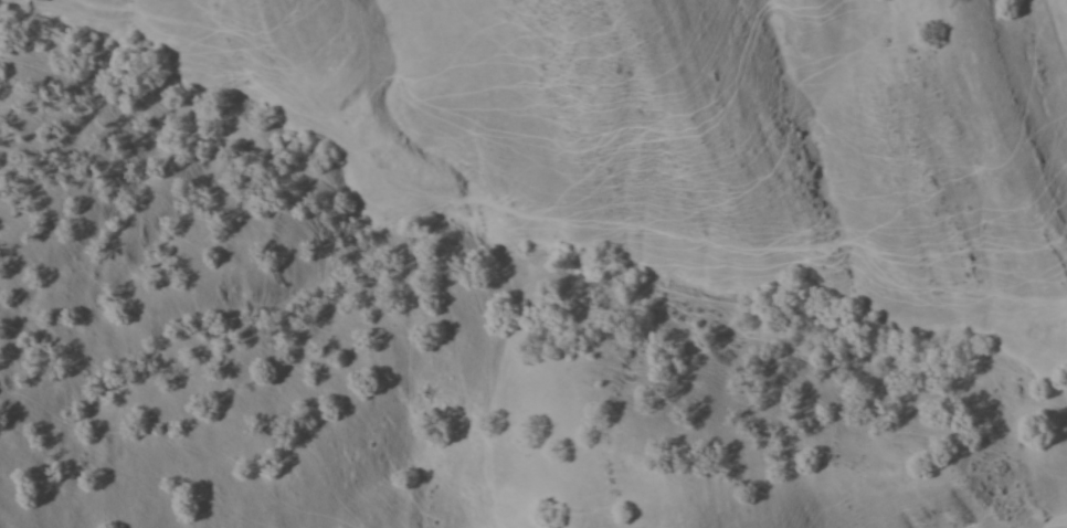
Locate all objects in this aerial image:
road: (1052, 2)

